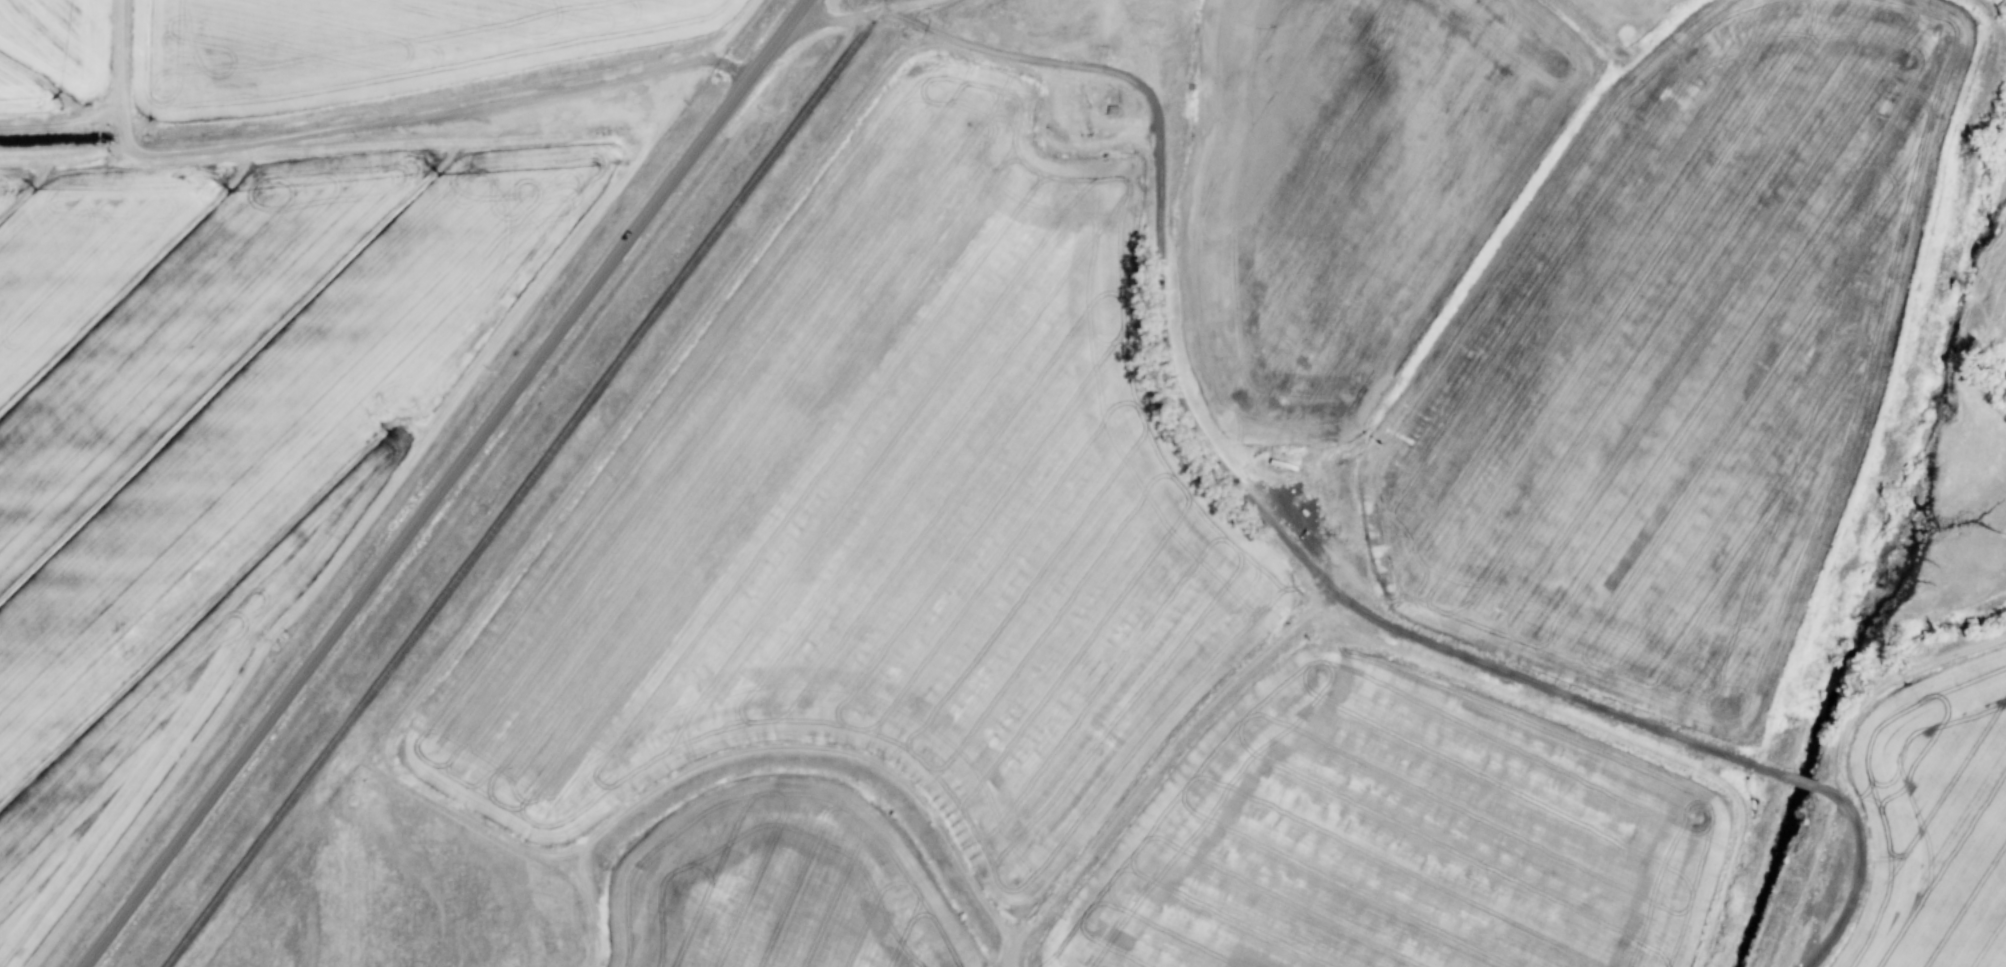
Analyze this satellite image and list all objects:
road: (872, 15)
road: (125, 74)
road: (377, 125)
railway: (527, 483)
road: (450, 484)
road: (1304, 557)
road: (1888, 685)

